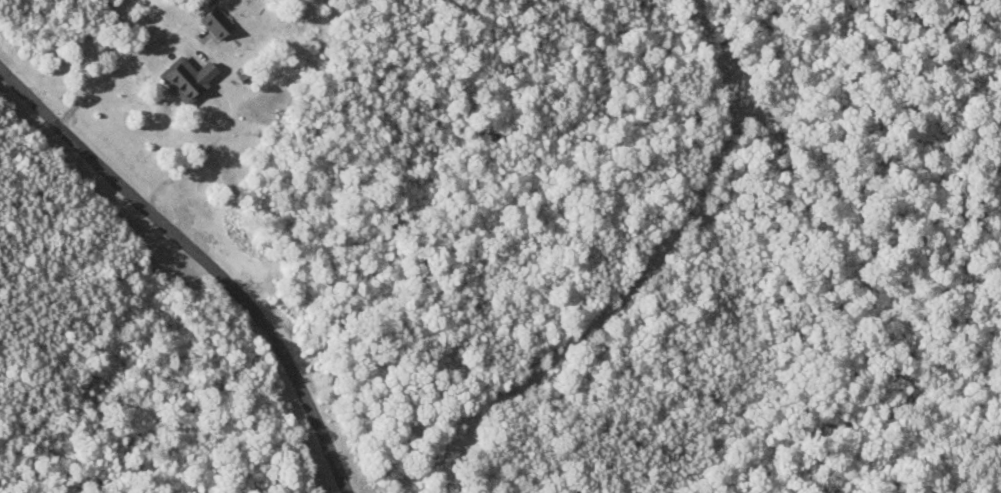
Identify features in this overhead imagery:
building: (216, 21)
building: (187, 78)
road: (103, 87)
road: (205, 256)

